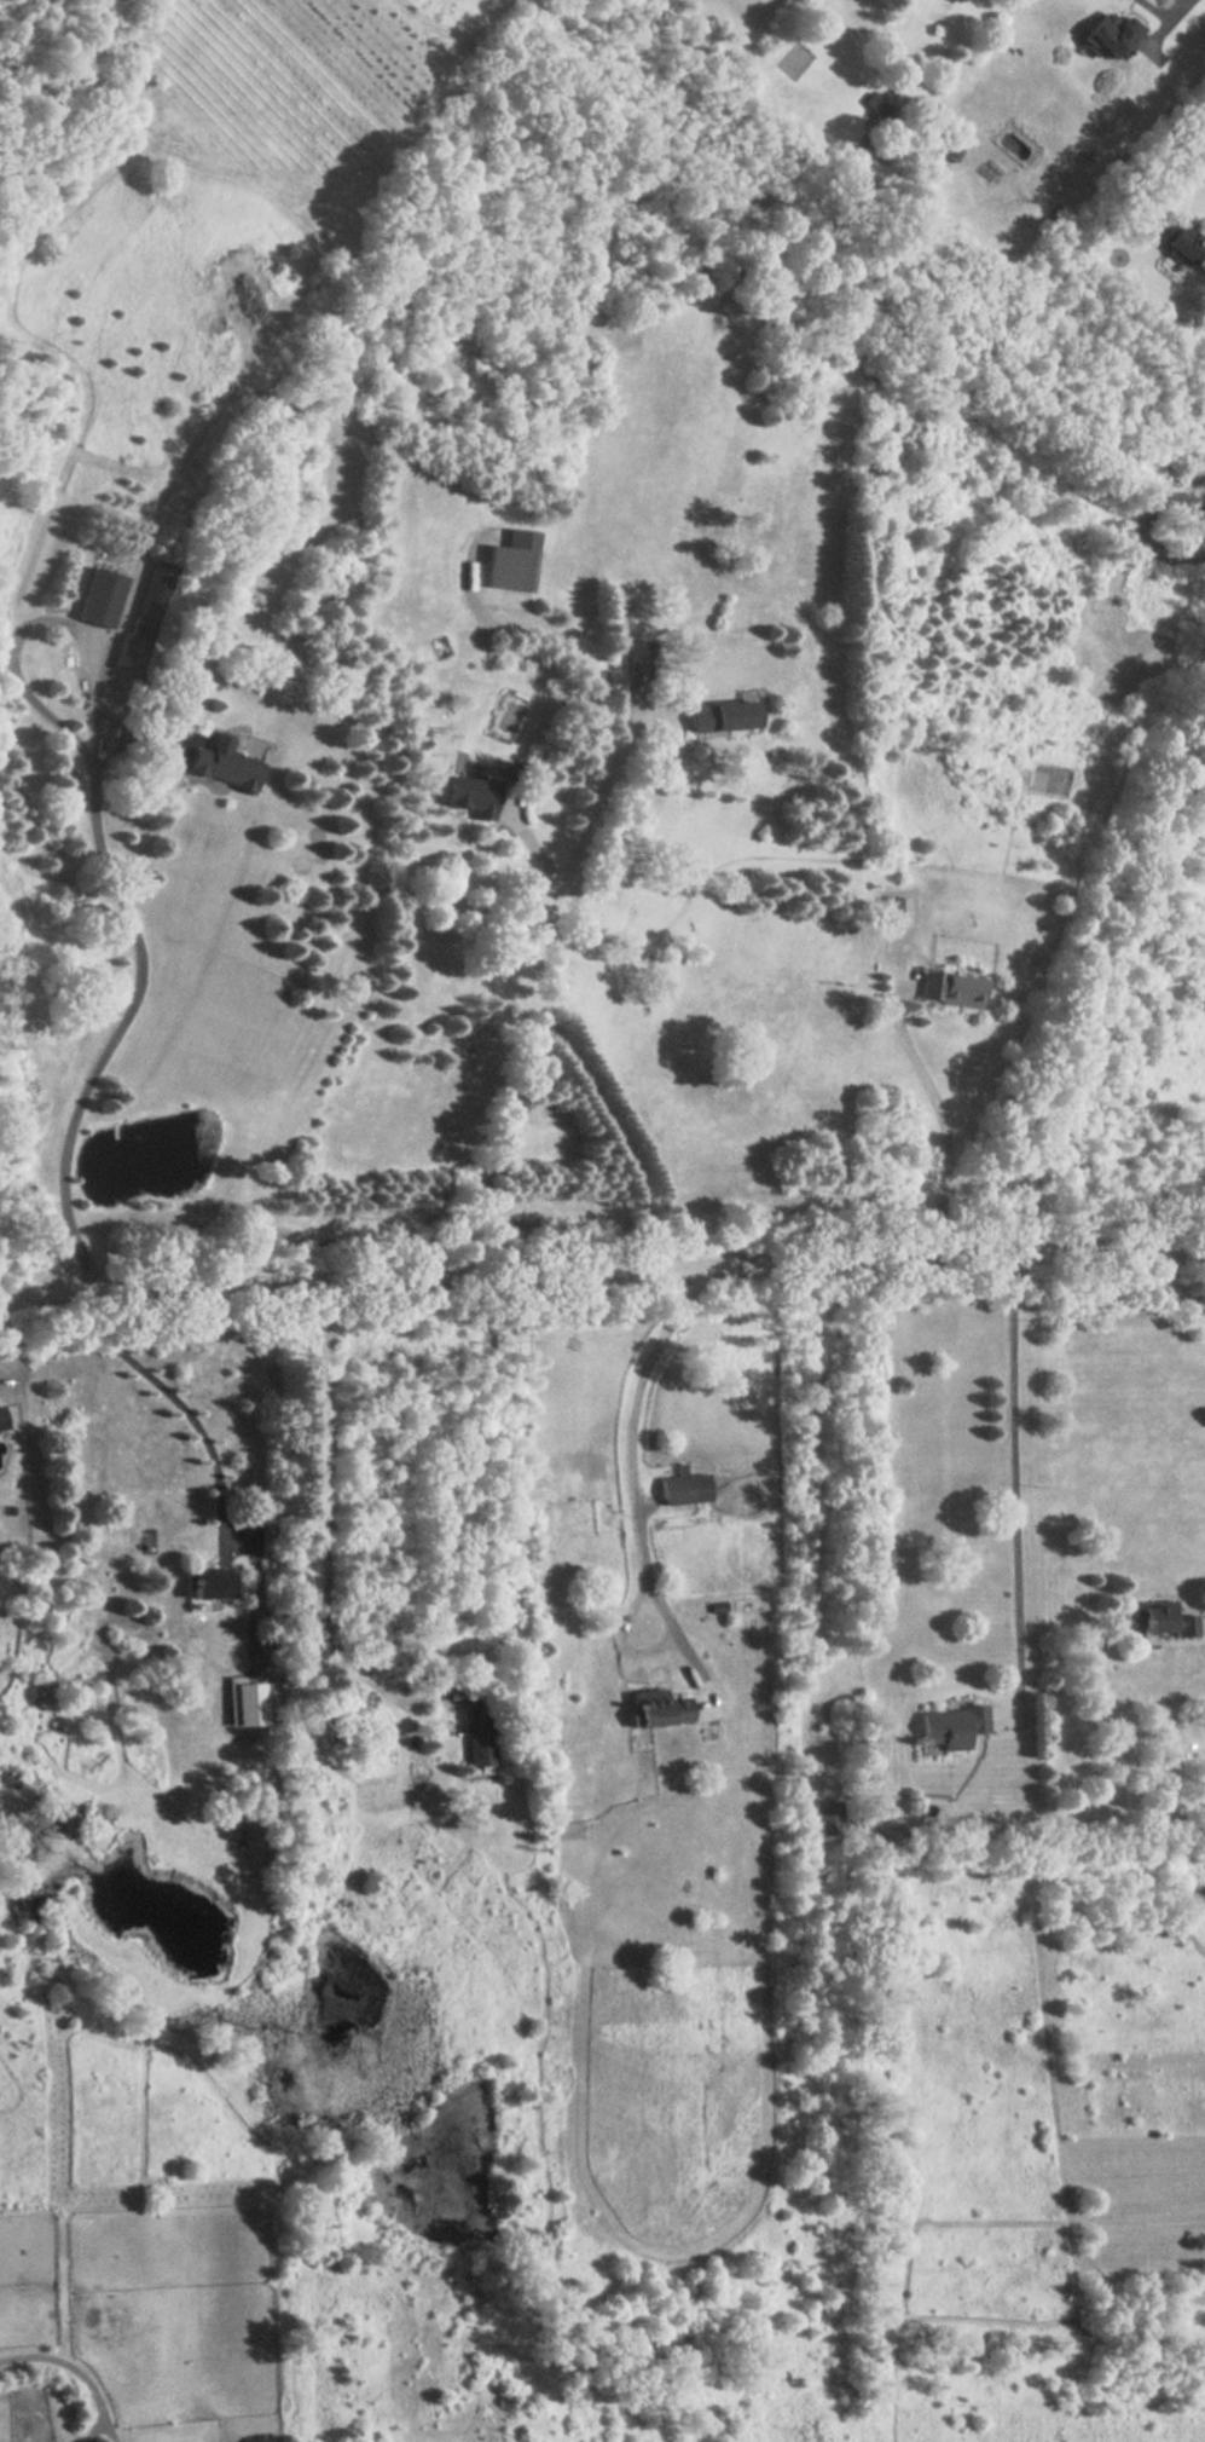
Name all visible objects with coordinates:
building: (886, 0)
road: (1183, 10)
building: (1113, 31)
building: (875, 103)
building: (1188, 246)
road: (1192, 527)
building: (519, 568)
building: (99, 596)
building: (145, 616)
road: (566, 643)
building: (639, 656)
building: (725, 715)
building: (506, 717)
building: (220, 770)
building: (473, 796)
road: (102, 855)
building: (950, 988)
road: (535, 993)
road: (943, 1110)
road: (602, 1266)
road: (1181, 1286)
road: (184, 1405)
building: (2, 1419)
road: (1025, 1483)
road: (641, 1486)
building: (685, 1488)
road: (817, 1502)
road: (323, 1516)
building: (207, 1582)
building: (1161, 1620)
building: (657, 1708)
building: (949, 1728)
building: (477, 1734)
building: (825, 1818)
road: (77, 2375)

